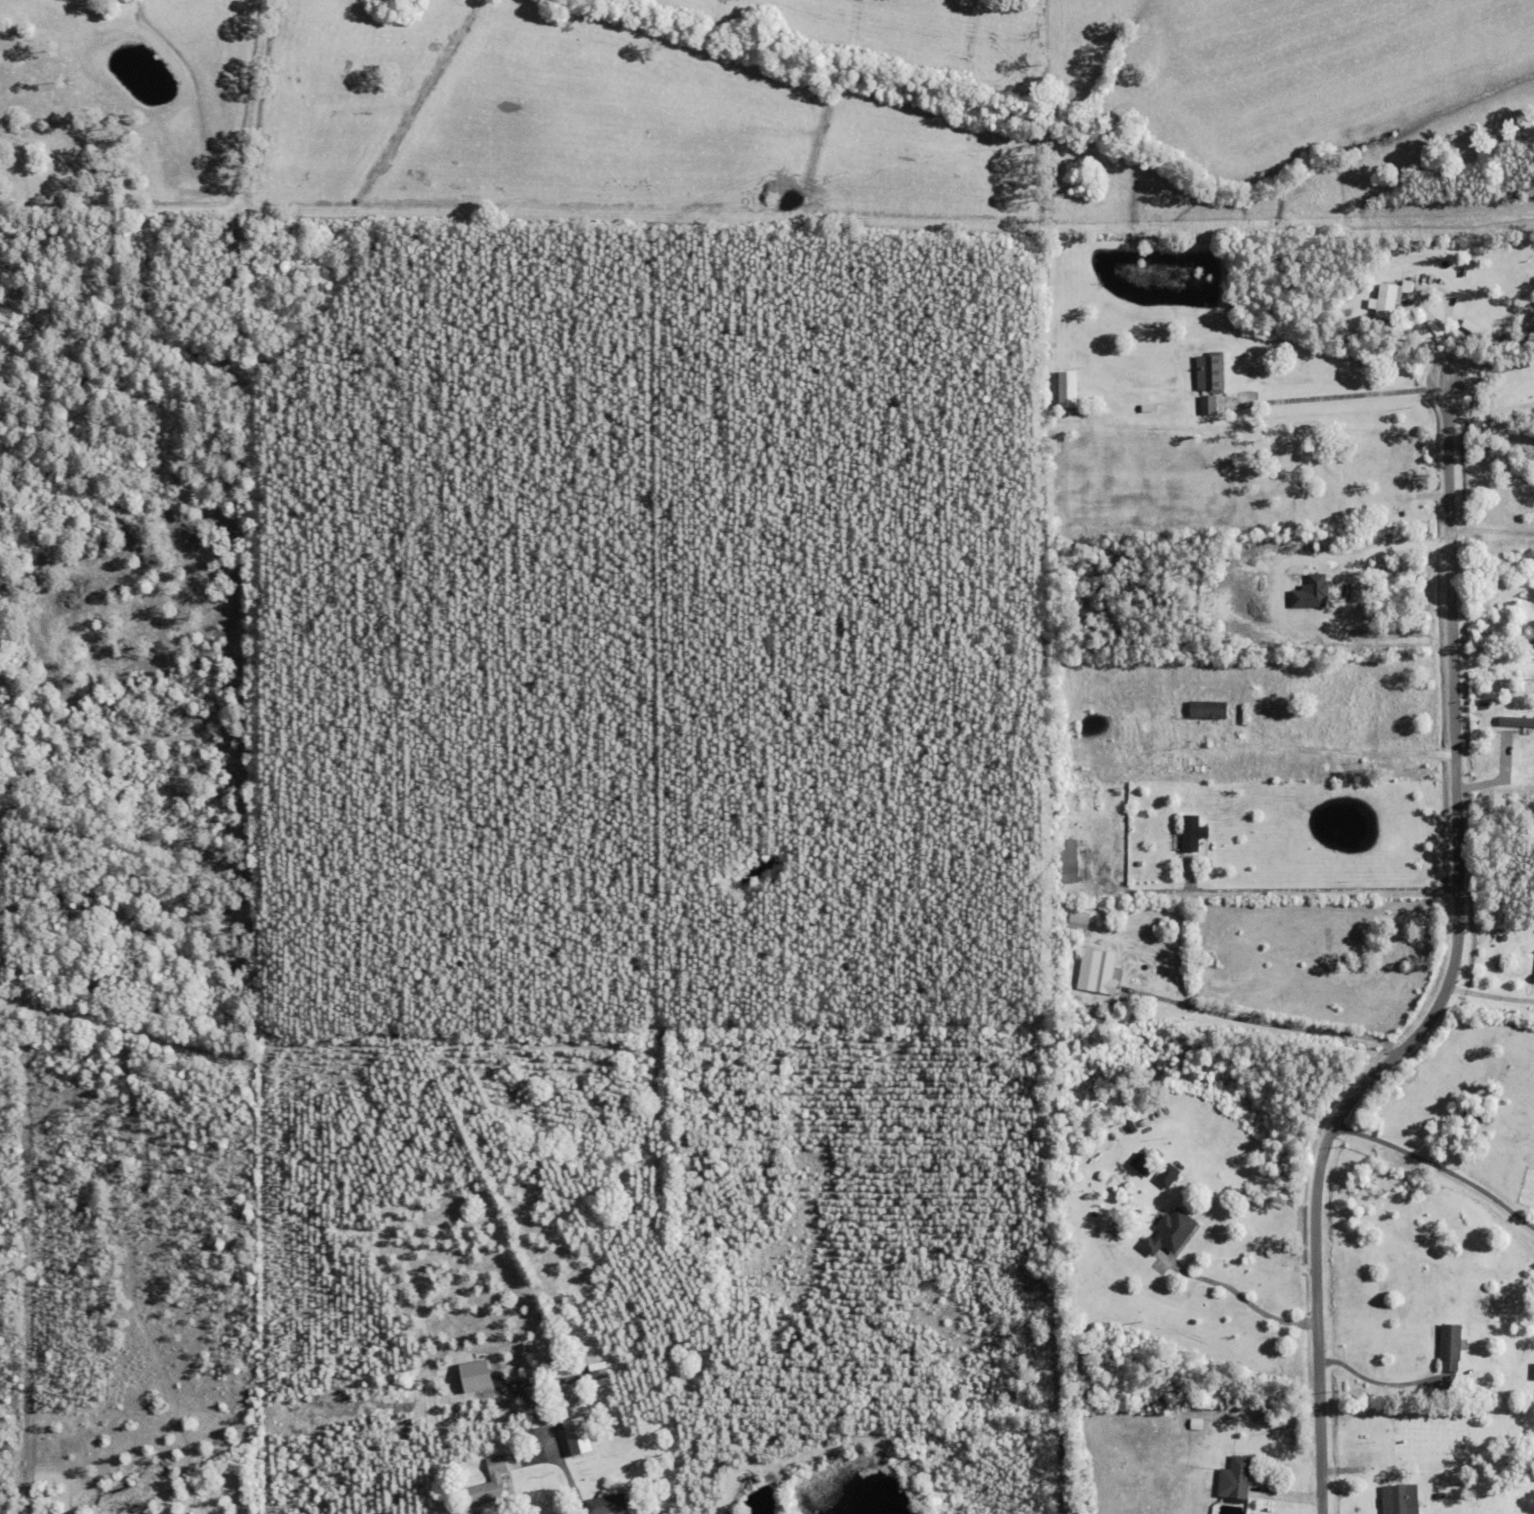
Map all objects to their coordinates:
building: (1462, 272)
building: (1398, 277)
building: (1421, 279)
building: (1407, 284)
building: (1387, 302)
building: (1211, 382)
building: (1069, 389)
road: (1345, 397)
building: (1055, 404)
road: (1491, 410)
building: (1077, 413)
building: (1356, 506)
building: (1306, 517)
building: (1533, 650)
building: (1209, 712)
building: (1372, 723)
building: (1386, 742)
building: (1521, 743)
building: (1335, 765)
building: (1531, 786)
road: (1496, 805)
building: (1193, 835)
building: (1068, 860)
road: (1323, 891)
building: (1078, 922)
building: (1505, 939)
building: (129, 941)
building: (147, 942)
building: (130, 953)
road: (1454, 972)
building: (123, 973)
building: (1105, 975)
building: (172, 976)
building: (59, 978)
building: (1533, 978)
building: (95, 980)
road: (1490, 996)
building: (1117, 1011)
road: (1276, 1031)
building: (1132, 1124)
building: (1145, 1165)
road: (1436, 1172)
building: (1168, 1174)
building: (1170, 1230)
road: (1237, 1297)
building: (1451, 1340)
building: (598, 1370)
building: (1532, 1371)
building: (476, 1379)
road: (1373, 1383)
building: (1279, 1425)
building: (530, 1432)
building: (572, 1436)
building: (1229, 1444)
building: (1236, 1477)
building: (1211, 1479)
building: (485, 1492)
road: (570, 1493)
building: (1440, 1495)
building: (1400, 1498)
building: (609, 1502)

